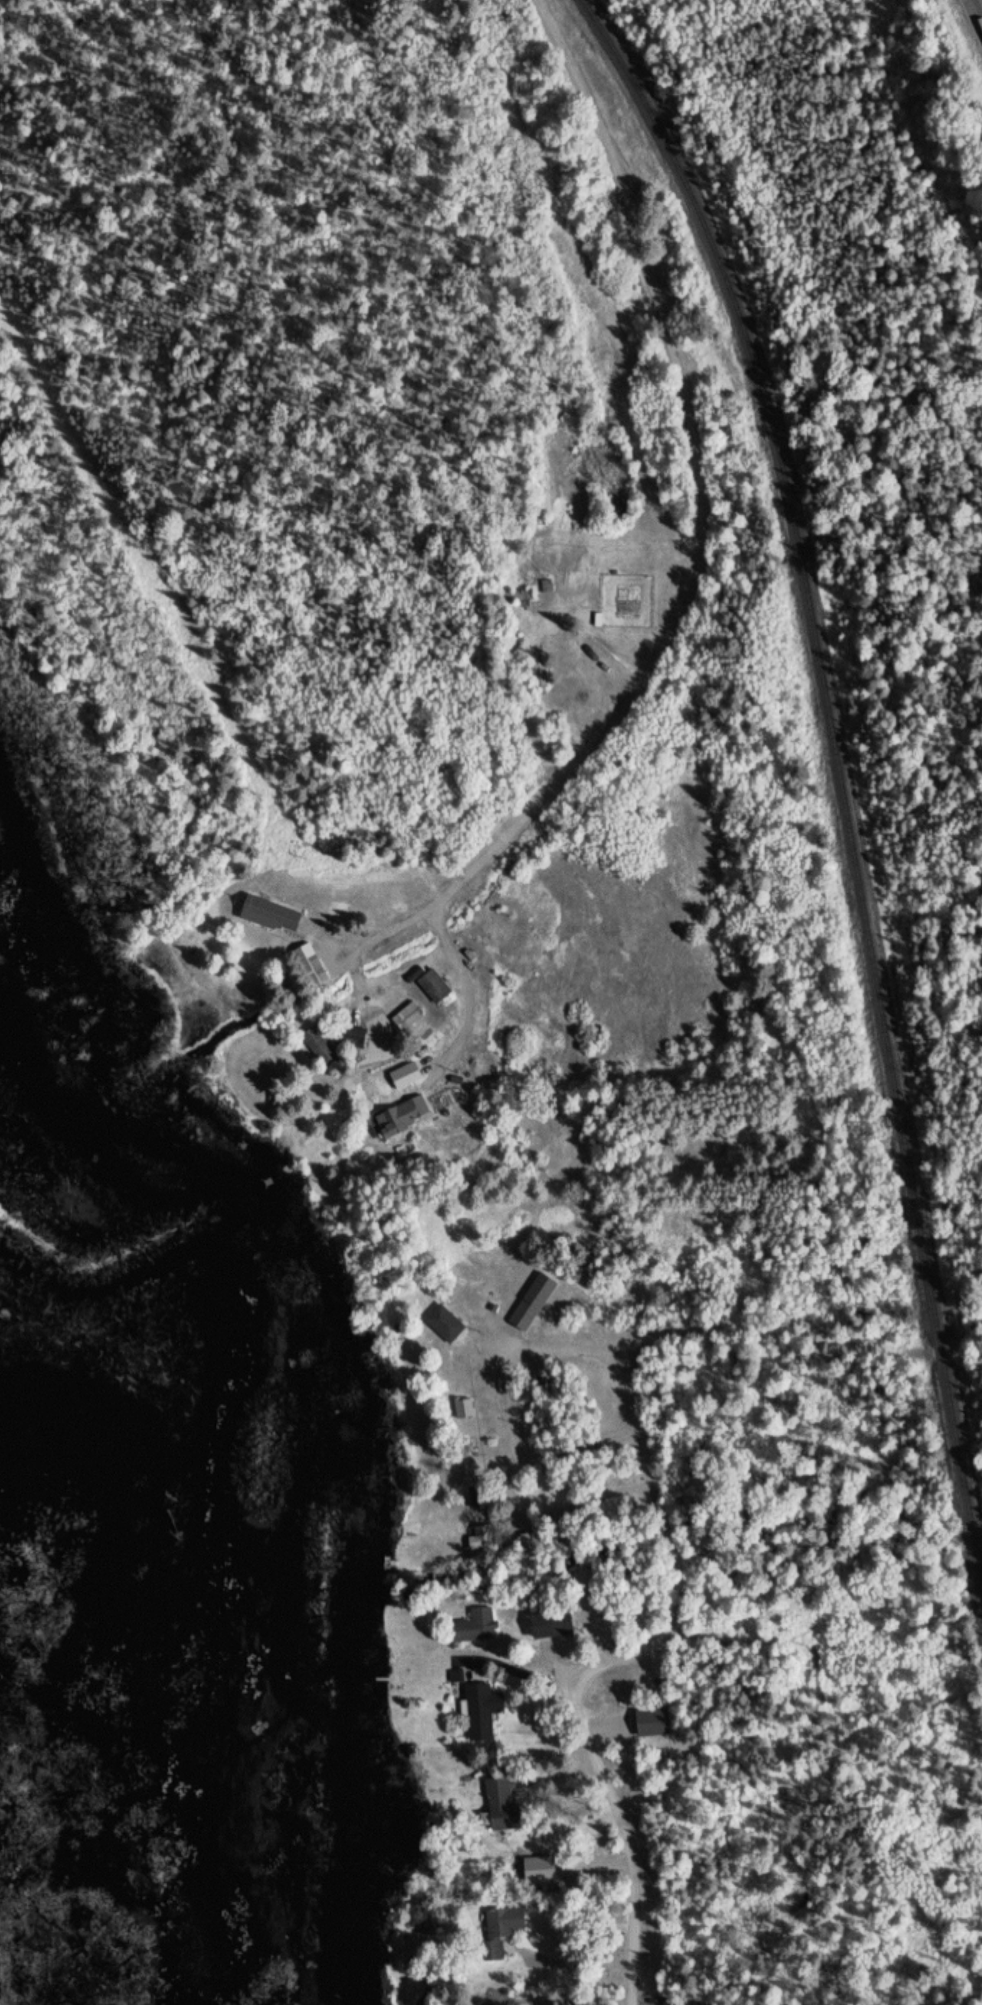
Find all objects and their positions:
road: (981, 1)
road: (704, 537)
building: (517, 597)
road: (595, 658)
building: (538, 675)
railway: (839, 775)
building: (268, 916)
building: (310, 967)
building: (432, 988)
building: (407, 1019)
building: (356, 1039)
building: (321, 1049)
building: (400, 1119)
building: (531, 1305)
building: (443, 1326)
road: (796, 1330)
road: (561, 1351)
building: (463, 1411)
building: (549, 1627)
building: (473, 1630)
road: (602, 1665)
road: (513, 1670)
building: (481, 1713)
road: (566, 1773)
building: (500, 1807)
building: (499, 1933)
road: (579, 1971)

